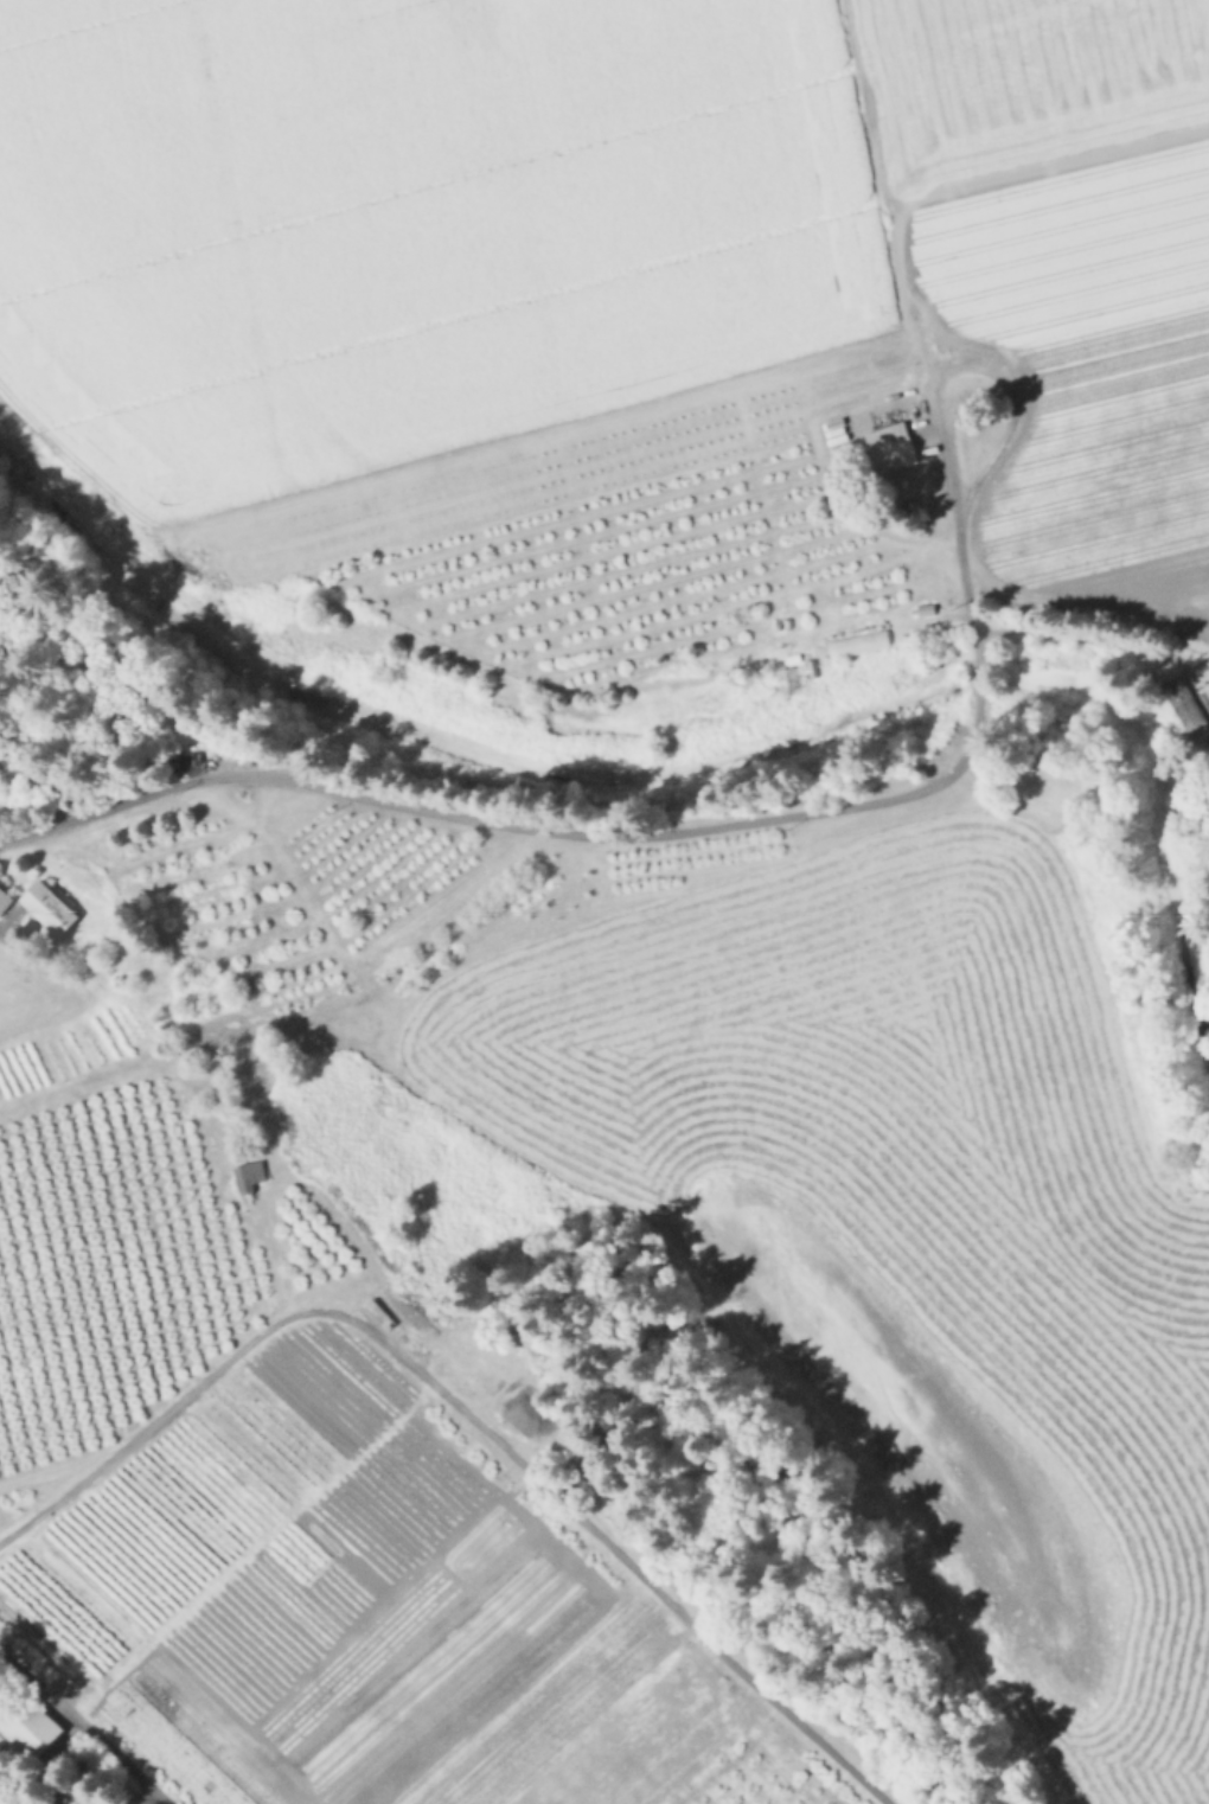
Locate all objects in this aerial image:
road: (875, 120)
crop: (623, 319)
building: (885, 439)
park: (43, 572)
road: (1080, 636)
building: (788, 684)
river: (985, 689)
building: (1177, 702)
river: (440, 744)
road: (667, 834)
building: (1, 891)
building: (2, 903)
building: (44, 906)
building: (243, 1179)
crop: (961, 1291)
building: (378, 1316)
road: (188, 1397)
building: (25, 1713)
road: (79, 1727)
building: (2, 1739)
building: (58, 1785)

